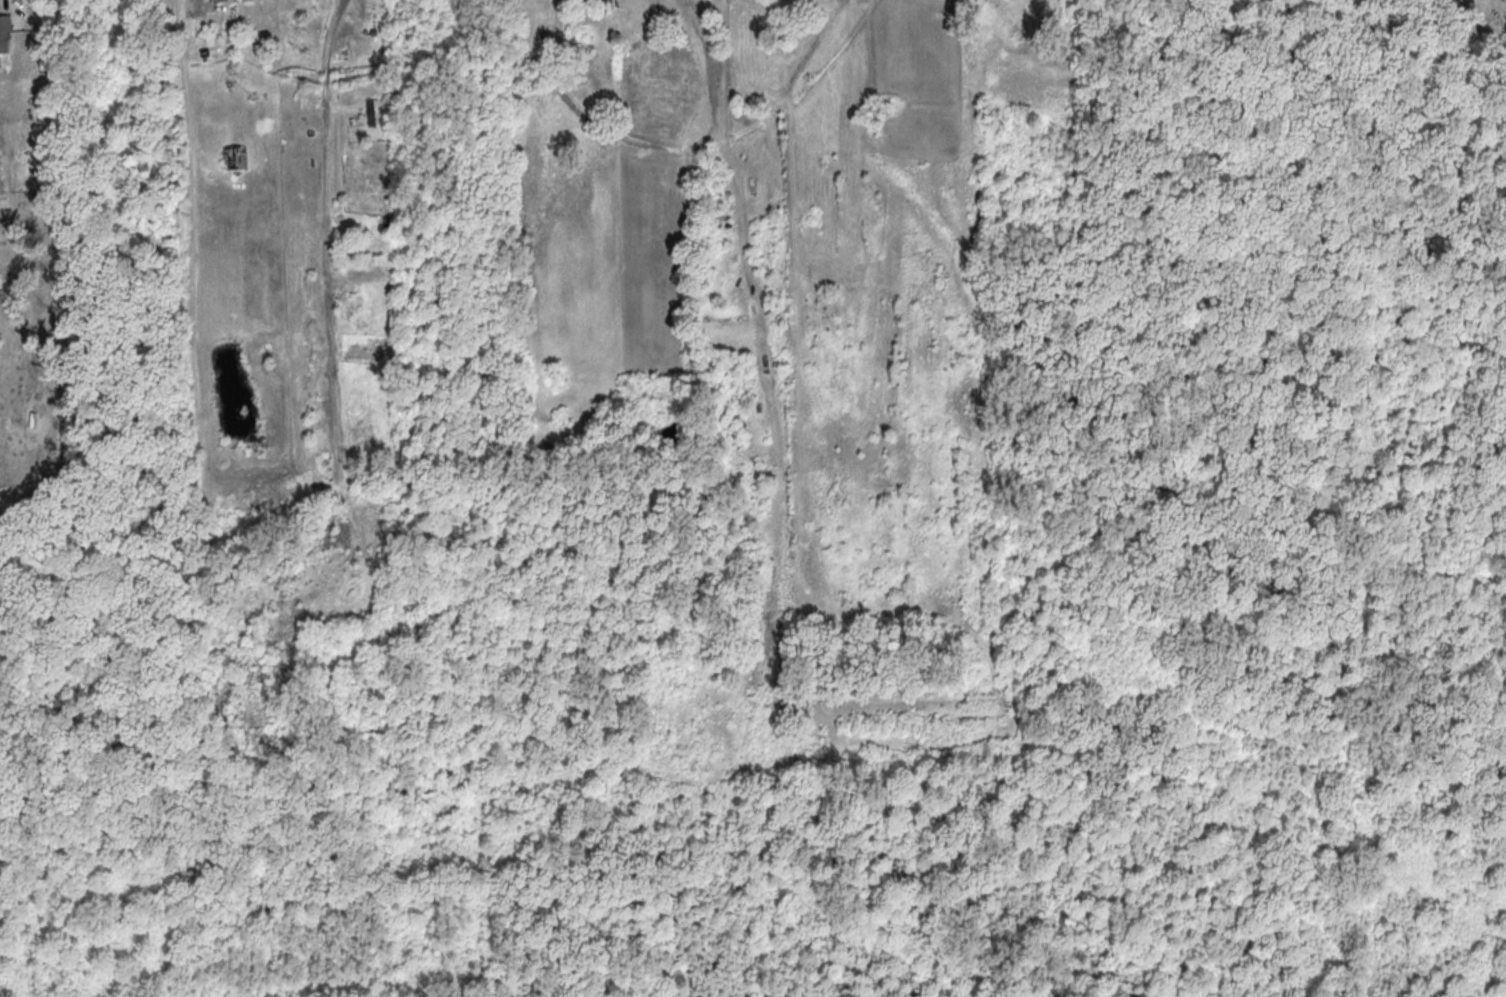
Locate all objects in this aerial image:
building: (217, 0)
road: (603, 4)
road: (11, 7)
building: (4, 32)
building: (369, 111)
building: (235, 157)
road: (321, 158)

